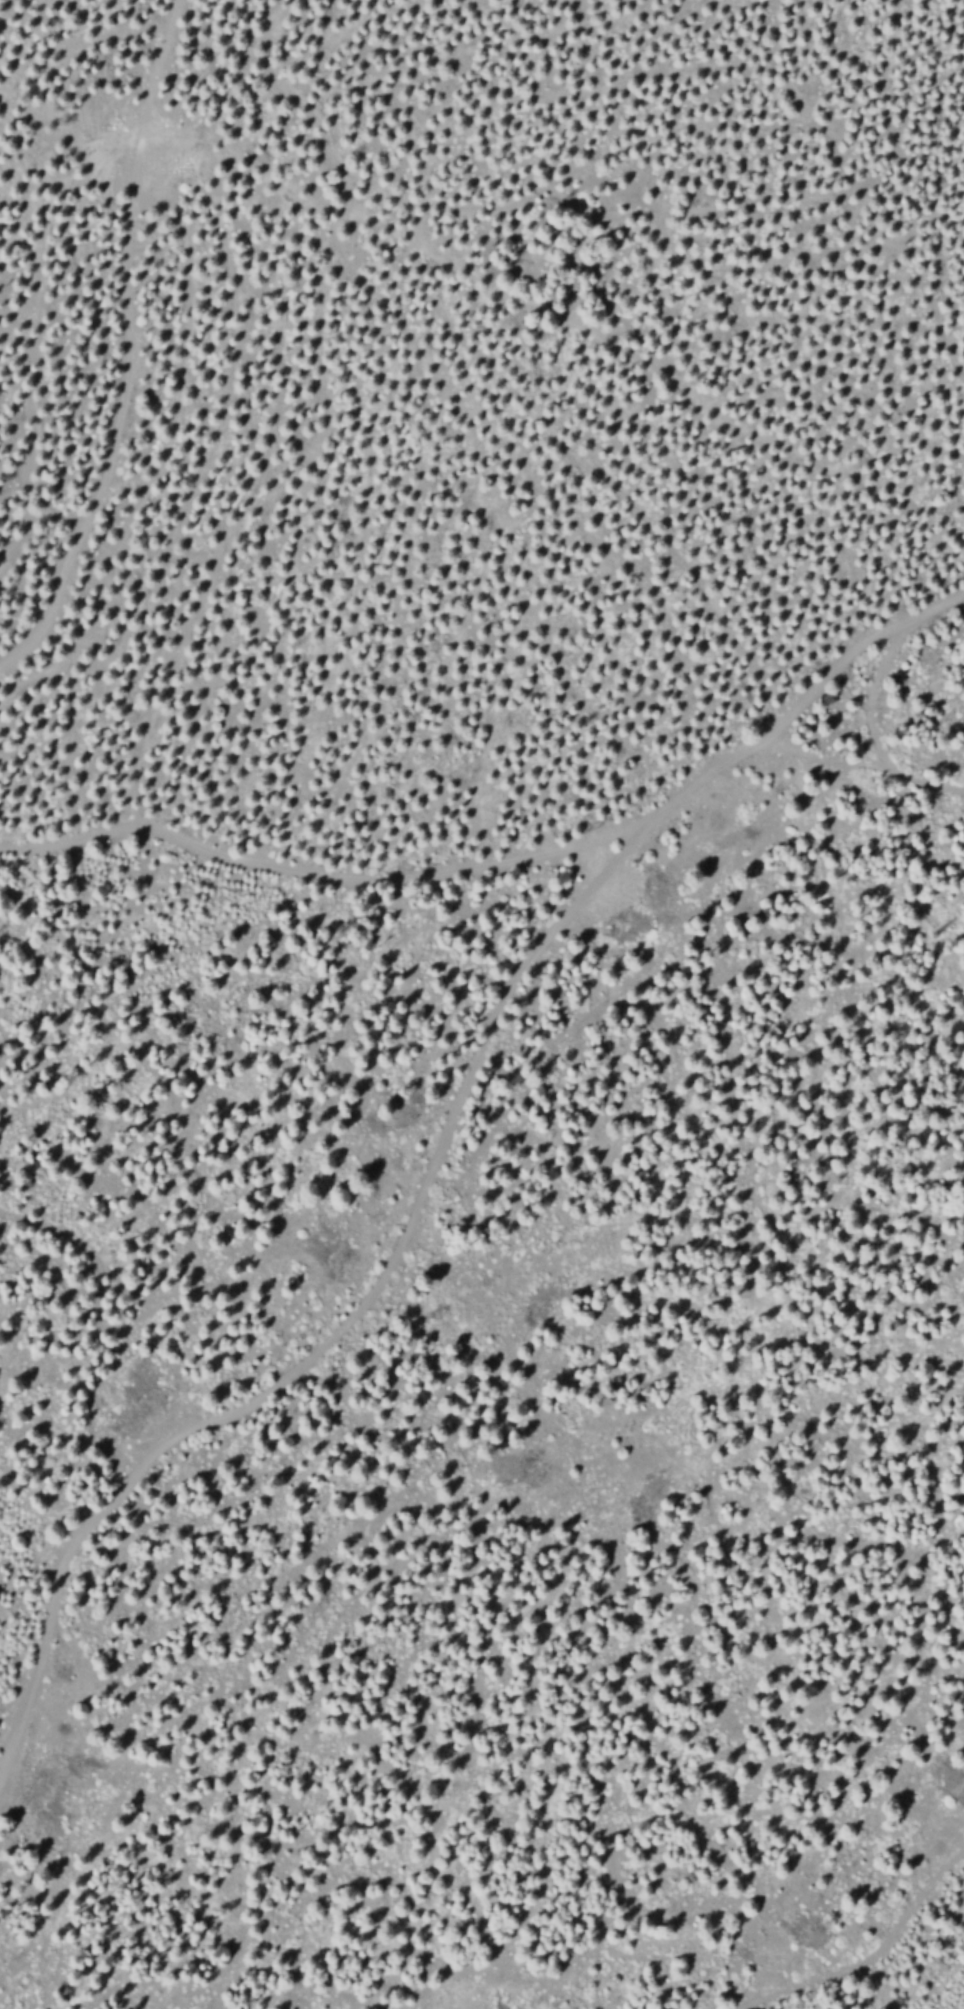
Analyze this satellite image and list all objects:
road: (855, 763)
road: (336, 873)
road: (437, 1150)
road: (865, 1959)

